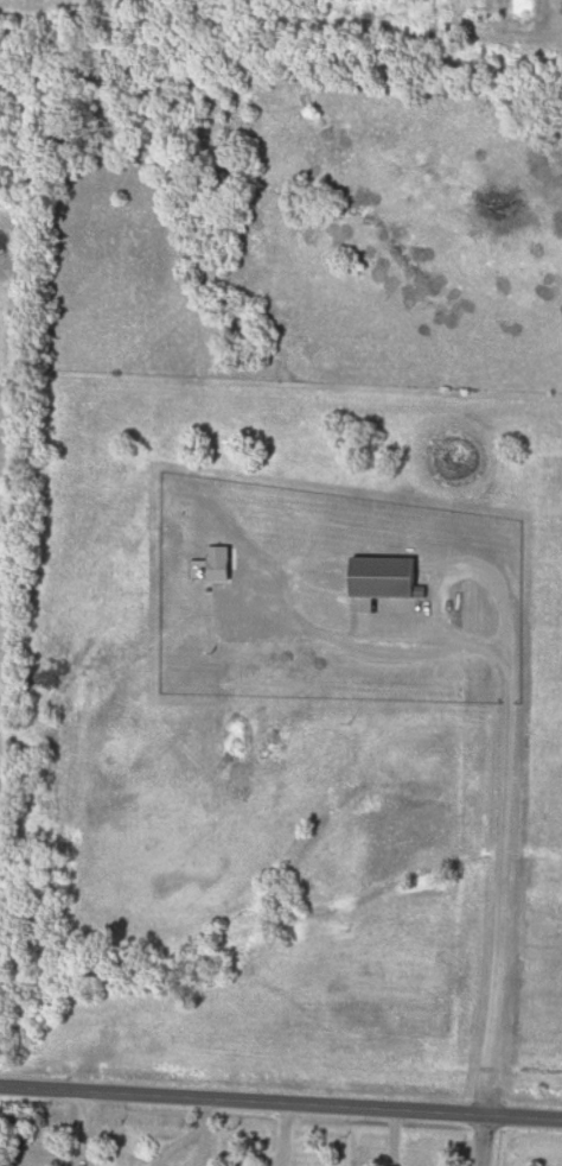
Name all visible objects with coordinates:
road: (503, 758)
road: (281, 1103)
road: (484, 1140)

